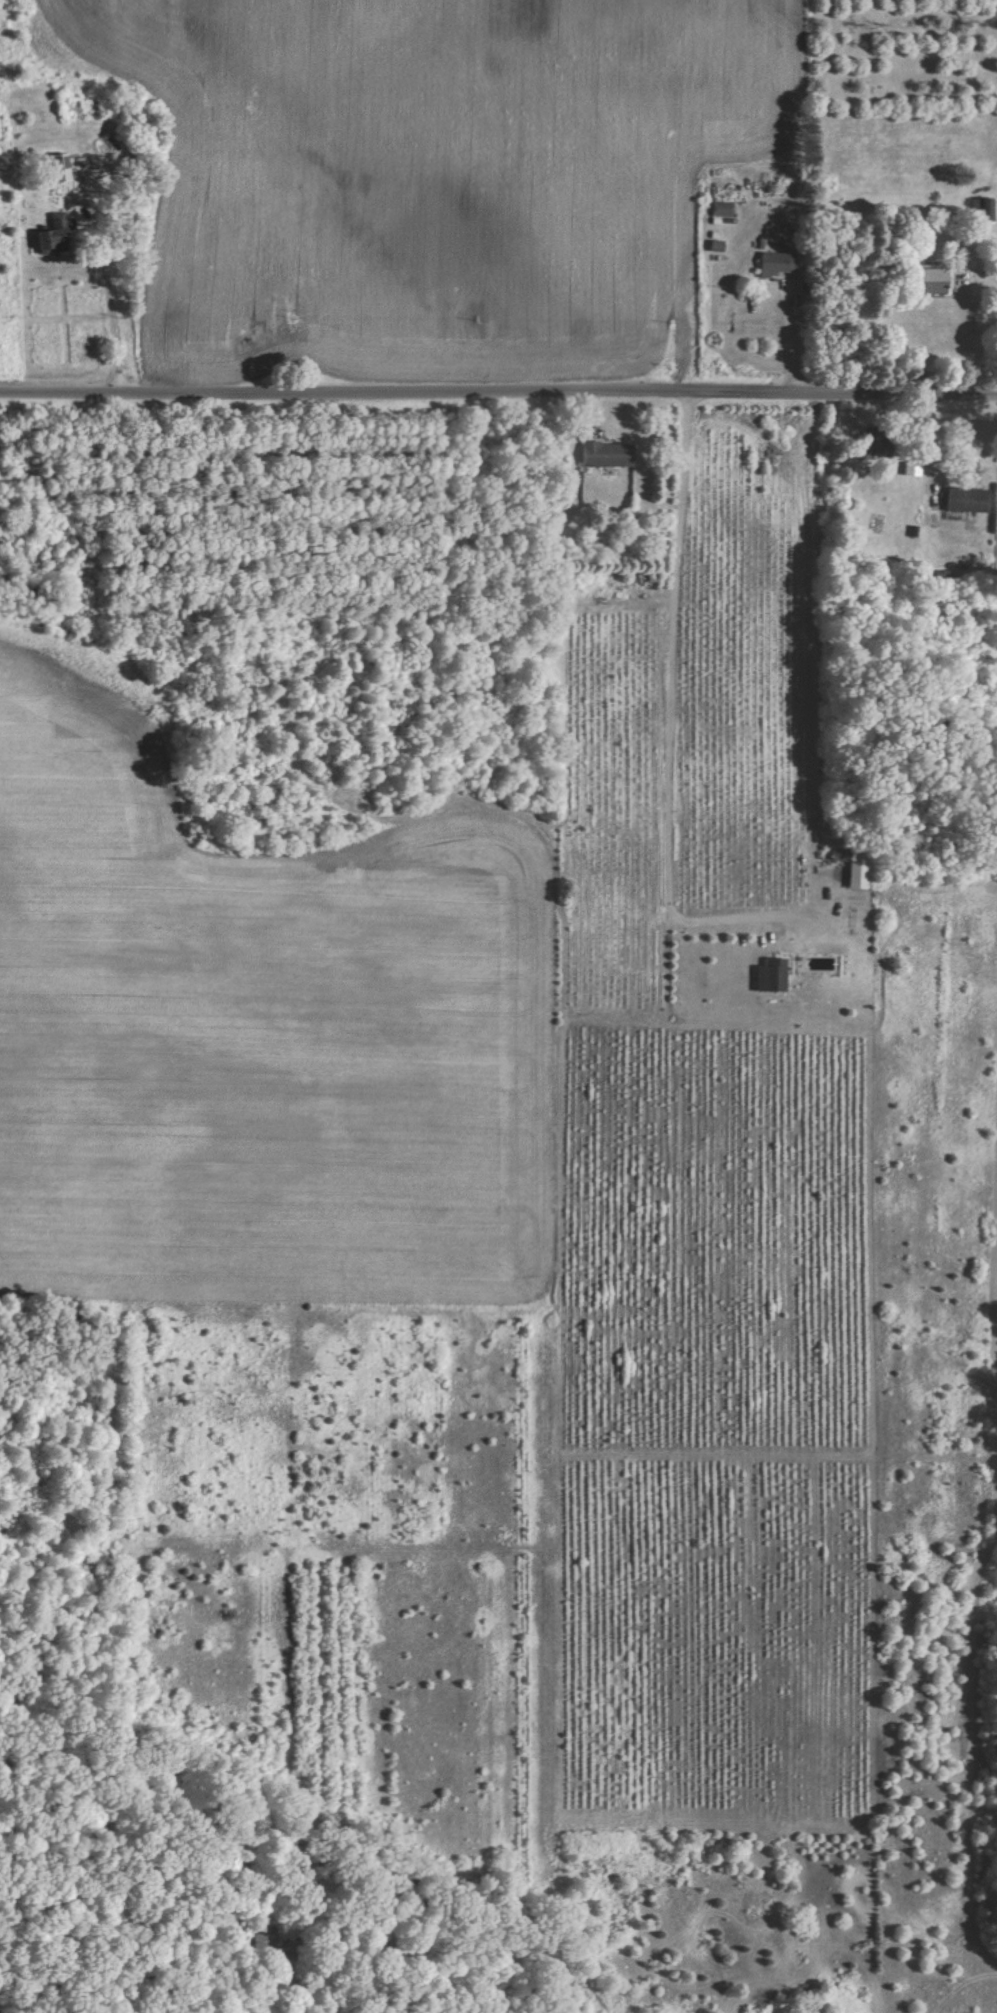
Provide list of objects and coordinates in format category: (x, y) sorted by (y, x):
building: (59, 168)
building: (719, 210)
building: (983, 210)
building: (45, 232)
building: (771, 265)
road: (987, 273)
building: (923, 281)
road: (108, 306)
road: (498, 388)
road: (931, 443)
building: (602, 455)
building: (963, 500)
road: (676, 708)
building: (855, 873)
building: (768, 977)

